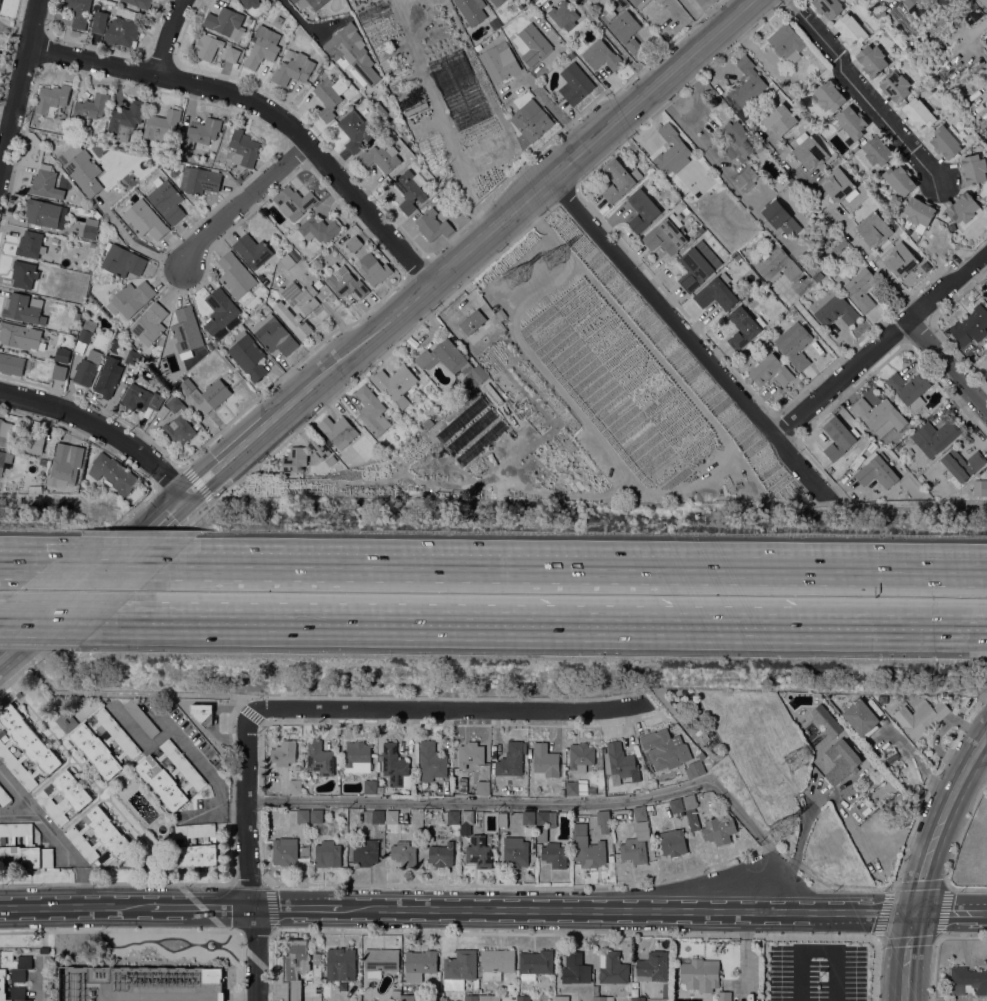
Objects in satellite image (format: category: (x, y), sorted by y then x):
building: (530, 0)
building: (589, 0)
building: (591, 0)
building: (597, 0)
building: (0, 1)
building: (659, 1)
building: (497, 2)
building: (909, 2)
building: (140, 3)
building: (249, 3)
building: (310, 3)
building: (639, 3)
building: (521, 6)
building: (828, 7)
building: (472, 10)
building: (79, 12)
road: (297, 14)
building: (563, 14)
building: (99, 21)
building: (226, 22)
building: (495, 24)
building: (851, 29)
building: (625, 30)
building: (120, 32)
road: (169, 37)
building: (532, 38)
building: (786, 42)
building: (206, 46)
building: (262, 46)
building: (477, 47)
building: (352, 51)
building: (232, 54)
building: (601, 55)
building: (872, 60)
building: (499, 61)
building: (293, 67)
building: (574, 83)
building: (748, 83)
road: (19, 84)
building: (895, 86)
road: (863, 90)
building: (828, 95)
building: (327, 98)
building: (52, 100)
road: (262, 107)
building: (89, 108)
building: (918, 113)
road: (561, 117)
building: (126, 119)
building: (530, 119)
building: (780, 120)
building: (851, 121)
building: (161, 126)
building: (355, 130)
building: (200, 133)
building: (735, 139)
building: (945, 142)
building: (243, 148)
building: (671, 151)
building: (873, 152)
building: (178, 153)
building: (810, 153)
building: (380, 157)
building: (208, 159)
building: (81, 168)
building: (179, 168)
building: (973, 169)
building: (239, 179)
building: (619, 179)
building: (745, 179)
building: (899, 179)
building: (199, 180)
building: (43, 182)
building: (837, 184)
building: (778, 188)
building: (409, 189)
building: (166, 199)
building: (75, 200)
road: (240, 202)
building: (294, 202)
building: (963, 207)
road: (551, 208)
building: (642, 210)
building: (686, 210)
building: (919, 211)
building: (45, 213)
building: (778, 216)
building: (144, 219)
building: (695, 223)
building: (431, 224)
building: (950, 225)
building: (89, 228)
building: (320, 228)
building: (873, 228)
road: (847, 229)
building: (667, 234)
building: (354, 243)
building: (30, 244)
building: (252, 250)
power tower: (554, 259)
building: (901, 259)
building: (121, 261)
building: (287, 261)
building: (778, 266)
building: (373, 268)
building: (694, 268)
building: (24, 273)
building: (236, 274)
building: (820, 276)
power tower: (517, 280)
building: (345, 281)
building: (857, 287)
building: (716, 292)
building: (986, 294)
building: (130, 298)
building: (21, 307)
building: (297, 307)
building: (833, 307)
building: (219, 310)
building: (499, 314)
building: (474, 321)
building: (149, 323)
building: (971, 325)
building: (743, 327)
road: (376, 329)
building: (186, 331)
road: (819, 331)
building: (274, 334)
building: (19, 335)
building: (85, 335)
road: (686, 336)
building: (794, 344)
road: (881, 345)
building: (62, 354)
building: (247, 354)
building: (442, 355)
building: (131, 358)
road: (376, 361)
building: (11, 363)
building: (87, 367)
road: (948, 367)
building: (986, 369)
building: (771, 370)
building: (59, 372)
building: (108, 376)
building: (473, 377)
building: (395, 383)
building: (187, 385)
building: (908, 389)
building: (214, 395)
building: (141, 397)
building: (174, 404)
building: (372, 410)
building: (879, 415)
building: (429, 421)
building: (196, 425)
road: (101, 426)
building: (179, 429)
building: (338, 430)
building: (7, 433)
building: (934, 436)
building: (838, 437)
building: (34, 443)
building: (317, 446)
building: (294, 459)
building: (1, 460)
building: (330, 460)
building: (43, 461)
building: (65, 464)
building: (961, 465)
building: (876, 470)
building: (112, 472)
building: (922, 475)
road: (196, 481)
building: (983, 487)
building: (34, 489)
road: (211, 500)
road: (75, 558)
road: (1, 561)
road: (1, 561)
road: (20, 562)
road: (102, 562)
road: (561, 564)
road: (971, 566)
road: (106, 595)
road: (56, 620)
road: (465, 624)
road: (903, 627)
road: (128, 692)
building: (794, 695)
building: (801, 696)
road: (238, 703)
road: (234, 705)
road: (446, 707)
road: (250, 713)
building: (861, 717)
building: (920, 717)
building: (141, 718)
building: (826, 720)
building: (65, 721)
road: (263, 722)
building: (704, 738)
building: (103, 742)
building: (664, 747)
building: (25, 748)
building: (284, 753)
building: (470, 753)
building: (701, 755)
building: (580, 756)
building: (357, 757)
building: (379, 757)
building: (320, 758)
building: (511, 759)
power tower: (795, 759)
building: (431, 761)
building: (545, 761)
road: (717, 761)
building: (621, 763)
building: (842, 763)
building: (395, 766)
building: (695, 768)
road: (205, 770)
building: (170, 774)
building: (666, 782)
building: (294, 785)
building: (370, 786)
building: (578, 786)
building: (482, 787)
building: (380, 789)
building: (4, 797)
building: (78, 797)
road: (555, 801)
building: (689, 801)
building: (676, 805)
building: (865, 807)
road: (245, 809)
road: (222, 810)
road: (235, 810)
road: (16, 812)
building: (341, 812)
building: (640, 813)
building: (302, 815)
building: (316, 815)
building: (391, 816)
building: (378, 817)
building: (453, 817)
building: (528, 817)
building: (546, 817)
road: (943, 818)
building: (466, 820)
building: (603, 820)
power tower: (780, 827)
building: (719, 828)
building: (542, 833)
road: (54, 835)
building: (100, 836)
building: (672, 842)
building: (636, 844)
building: (196, 845)
building: (23, 847)
building: (587, 847)
building: (284, 850)
building: (365, 850)
building: (478, 851)
building: (515, 852)
building: (404, 853)
building: (327, 854)
building: (441, 854)
building: (554, 854)
road: (264, 856)
building: (610, 857)
road: (231, 882)
road: (268, 882)
road: (248, 883)
road: (288, 906)
road: (203, 907)
road: (76, 908)
road: (618, 908)
road: (950, 911)
road: (152, 931)
road: (256, 931)
road: (274, 932)
road: (238, 933)
road: (571, 934)
building: (44, 949)
road: (817, 951)
road: (255, 953)
road: (908, 955)
building: (380, 961)
building: (341, 963)
building: (496, 963)
building: (535, 963)
building: (419, 964)
building: (295, 965)
building: (653, 966)
building: (611, 967)
building: (575, 968)
building: (459, 969)
building: (699, 973)
building: (13, 974)
building: (212, 975)
road: (800, 976)
road: (834, 976)
road: (40, 978)
building: (967, 981)
power substation: (141, 983)
building: (342, 986)
building: (395, 992)
building: (600, 995)
building: (724, 996)
building: (407, 997)
building: (470, 997)
building: (489, 997)
building: (523, 998)
building: (566, 998)
building: (637, 998)

